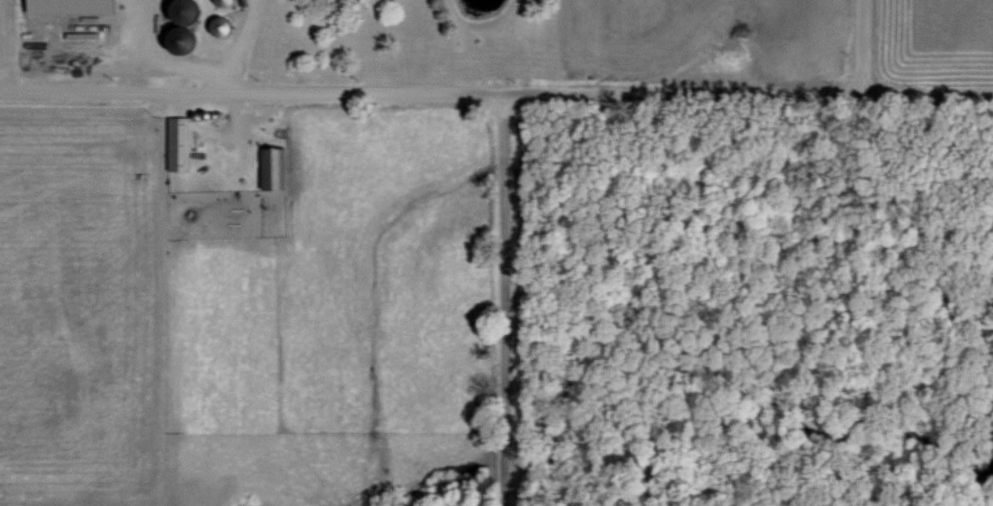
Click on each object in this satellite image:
building: (64, 6)
road: (864, 47)
road: (496, 93)
building: (269, 168)
road: (499, 300)

